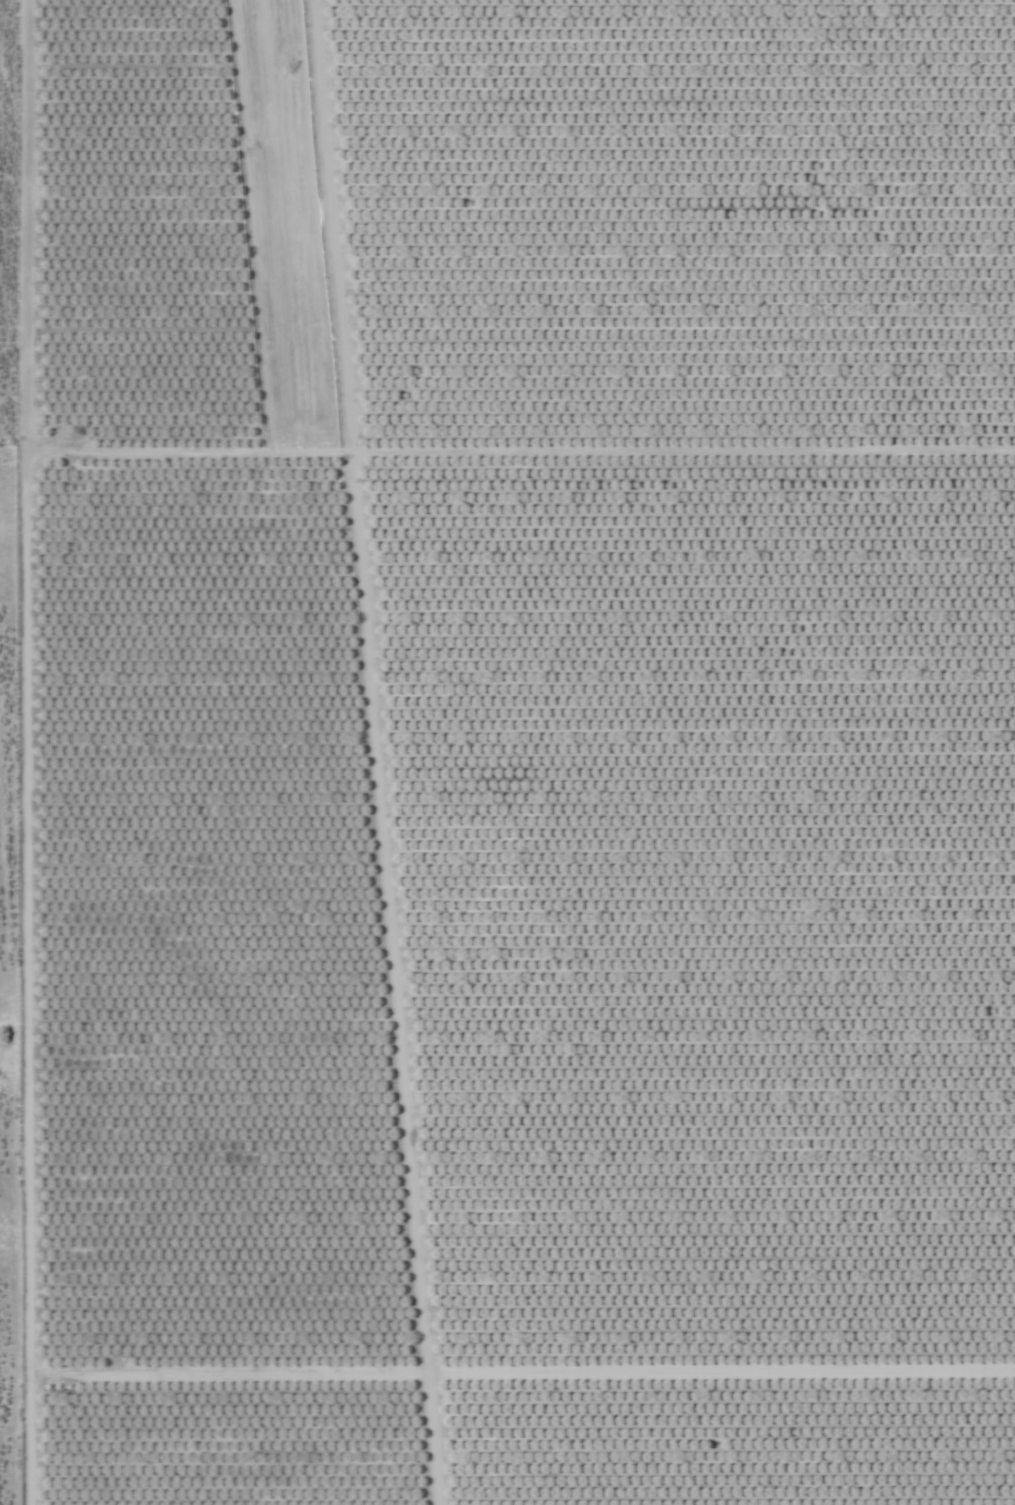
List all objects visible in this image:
railway: (277, 227)
railway: (287, 227)
road: (684, 455)
crop: (508, 753)
railway: (339, 979)
railway: (349, 979)
road: (721, 1375)

